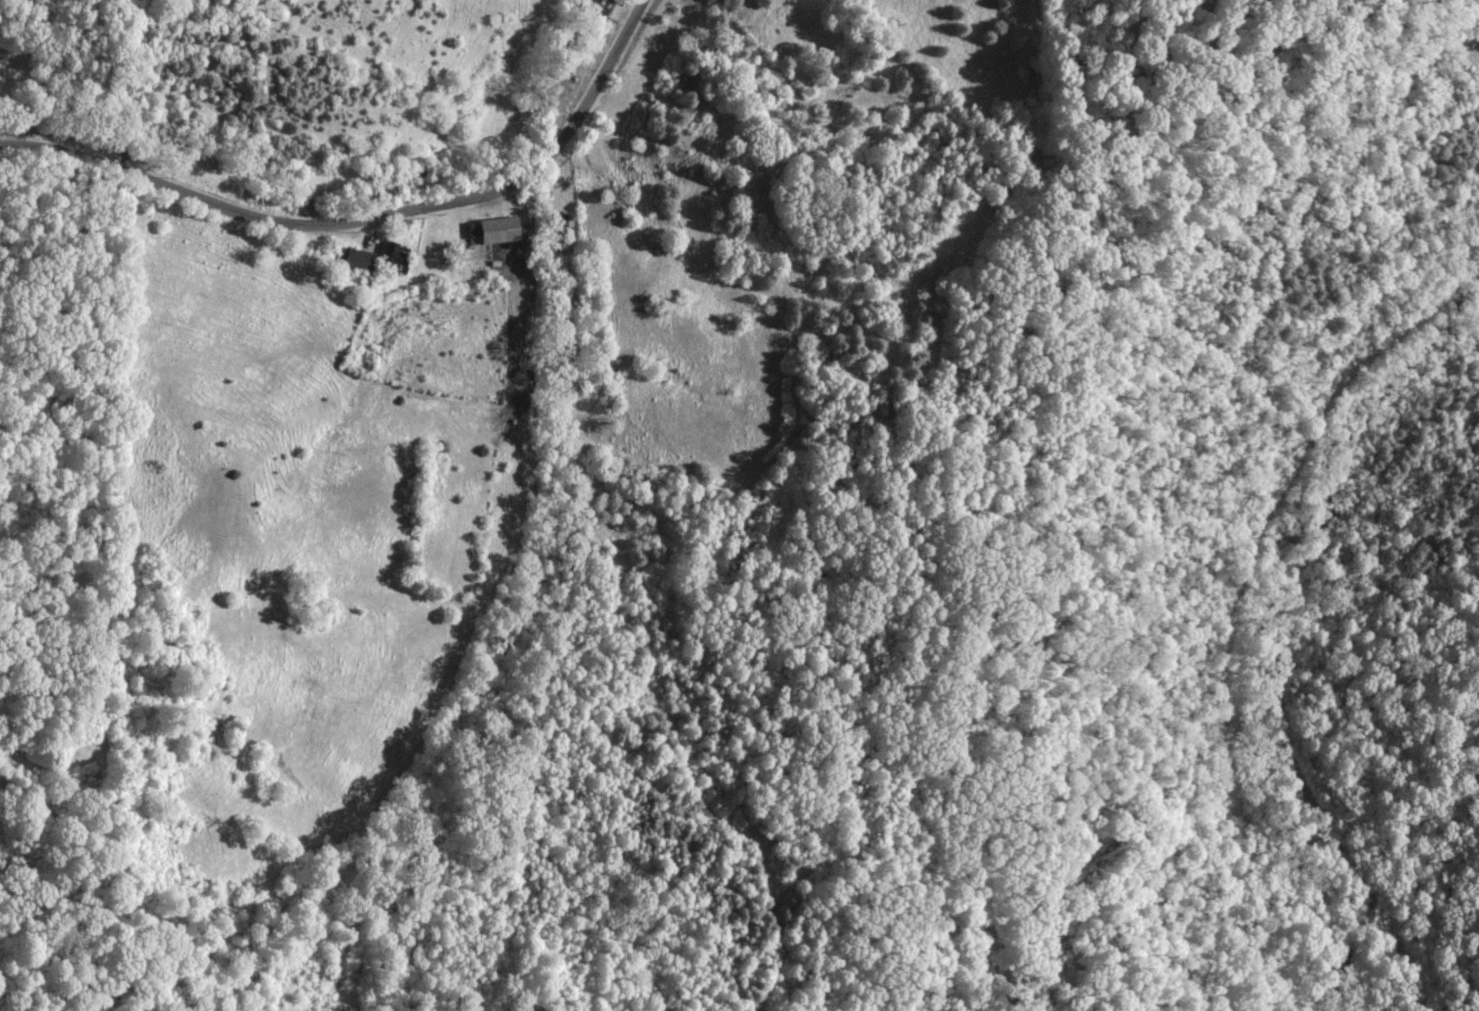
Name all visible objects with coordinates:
road: (363, 215)
building: (498, 230)
building: (394, 256)
building: (355, 259)

